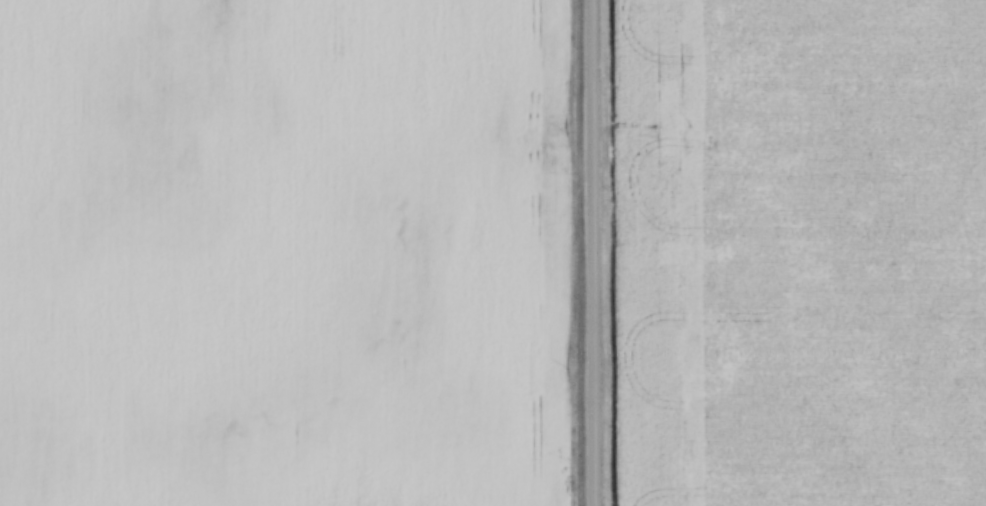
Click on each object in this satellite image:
road: (596, 253)

